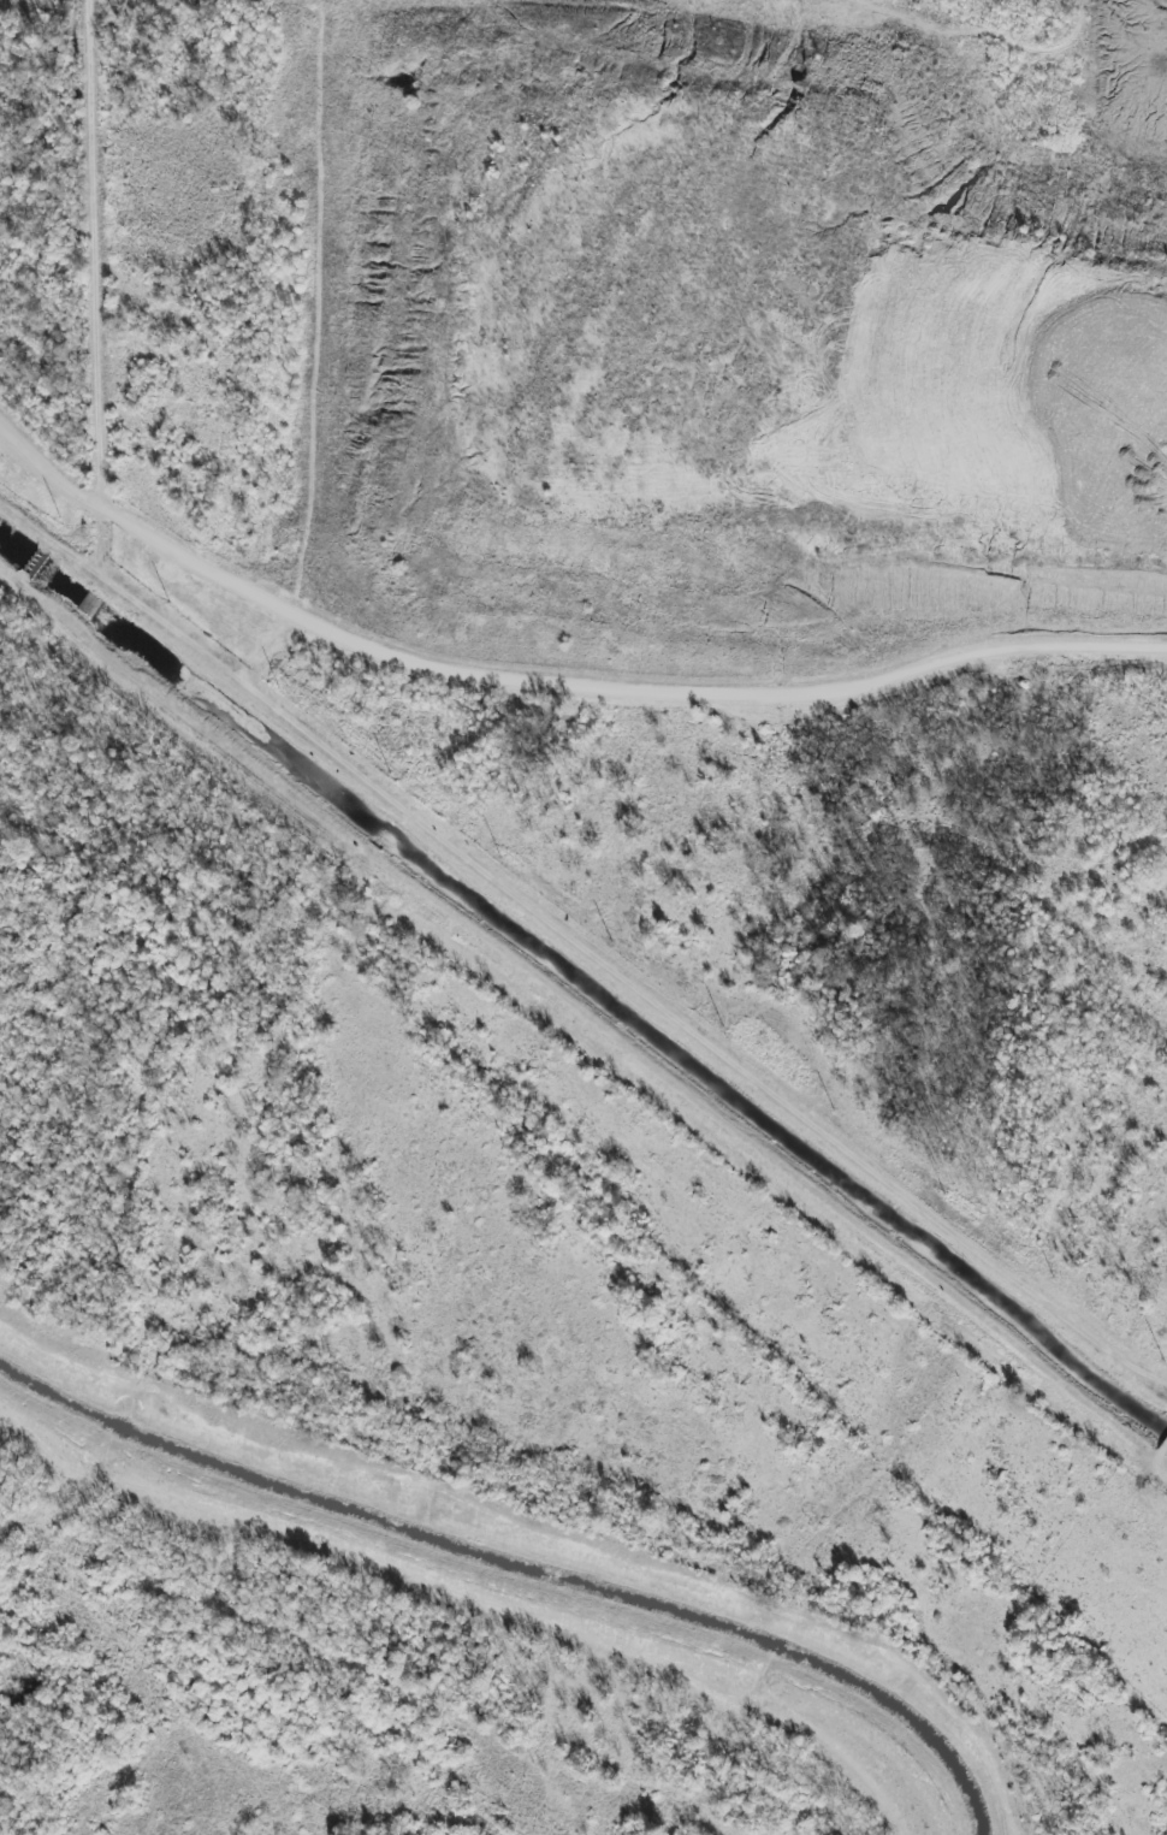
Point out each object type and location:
road: (552, 683)

